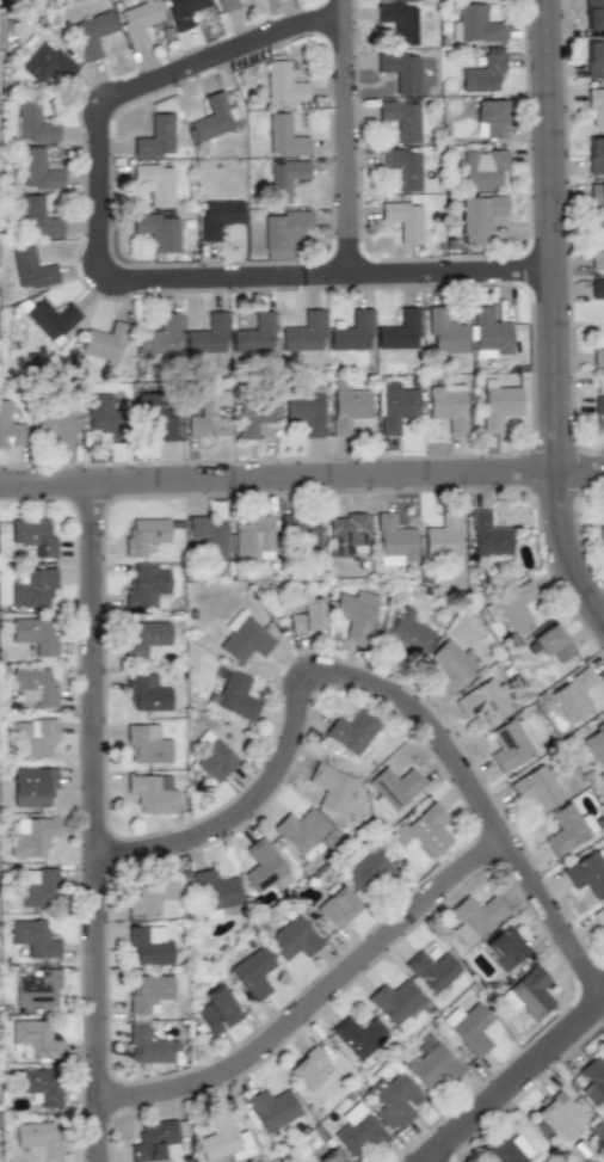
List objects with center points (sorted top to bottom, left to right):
building: (227, 5)
building: (181, 11)
building: (593, 14)
building: (399, 20)
building: (138, 21)
building: (474, 24)
building: (93, 32)
building: (594, 60)
building: (45, 61)
building: (400, 70)
building: (483, 72)
building: (283, 82)
building: (596, 106)
building: (214, 117)
building: (401, 118)
building: (489, 118)
building: (32, 122)
building: (284, 135)
building: (154, 137)
road: (349, 143)
building: (596, 155)
building: (483, 166)
building: (401, 167)
building: (37, 170)
building: (284, 178)
building: (156, 183)
building: (597, 198)
building: (480, 216)
building: (36, 217)
building: (220, 217)
building: (402, 220)
building: (159, 228)
building: (282, 230)
building: (599, 248)
building: (31, 268)
building: (597, 288)
road: (113, 291)
road: (559, 314)
building: (51, 316)
building: (350, 331)
building: (397, 331)
building: (302, 332)
building: (489, 332)
building: (253, 333)
building: (443, 333)
building: (160, 336)
building: (205, 336)
building: (103, 344)
building: (598, 355)
building: (498, 402)
building: (446, 405)
building: (394, 406)
building: (598, 407)
building: (210, 410)
building: (344, 410)
building: (304, 411)
building: (101, 412)
building: (160, 416)
building: (253, 422)
building: (56, 423)
building: (8, 428)
road: (301, 485)
building: (298, 530)
building: (347, 533)
building: (32, 535)
building: (144, 535)
building: (208, 535)
building: (442, 535)
building: (488, 536)
building: (600, 536)
building: (253, 537)
building: (392, 537)
building: (33, 588)
building: (147, 589)
building: (511, 608)
building: (303, 614)
building: (355, 615)
building: (407, 633)
building: (35, 634)
building: (244, 638)
building: (144, 639)
building: (553, 641)
building: (449, 665)
building: (33, 685)
building: (146, 691)
building: (235, 695)
road: (380, 696)
building: (573, 696)
building: (482, 701)
building: (351, 730)
building: (33, 738)
building: (597, 738)
building: (511, 743)
building: (146, 744)
building: (214, 758)
building: (393, 786)
building: (33, 787)
building: (328, 787)
building: (536, 788)
building: (152, 792)
road: (93, 825)
building: (423, 828)
building: (301, 830)
building: (565, 830)
building: (30, 835)
building: (364, 865)
building: (263, 866)
building: (586, 873)
building: (37, 885)
building: (214, 891)
building: (152, 897)
building: (334, 905)
building: (598, 915)
building: (474, 917)
building: (292, 937)
building: (31, 939)
building: (149, 945)
building: (505, 947)
building: (431, 970)
building: (253, 972)
building: (37, 988)
building: (528, 992)
building: (147, 994)
building: (395, 1003)
building: (216, 1010)
road: (319, 1014)
building: (470, 1027)
building: (357, 1035)
building: (33, 1039)
building: (149, 1047)
building: (431, 1063)
building: (306, 1069)
building: (592, 1078)
building: (37, 1086)
road: (513, 1088)
building: (394, 1100)
building: (270, 1107)
building: (565, 1120)
building: (357, 1130)
building: (38, 1139)
building: (221, 1139)
building: (156, 1141)
building: (505, 1149)
building: (331, 1156)

